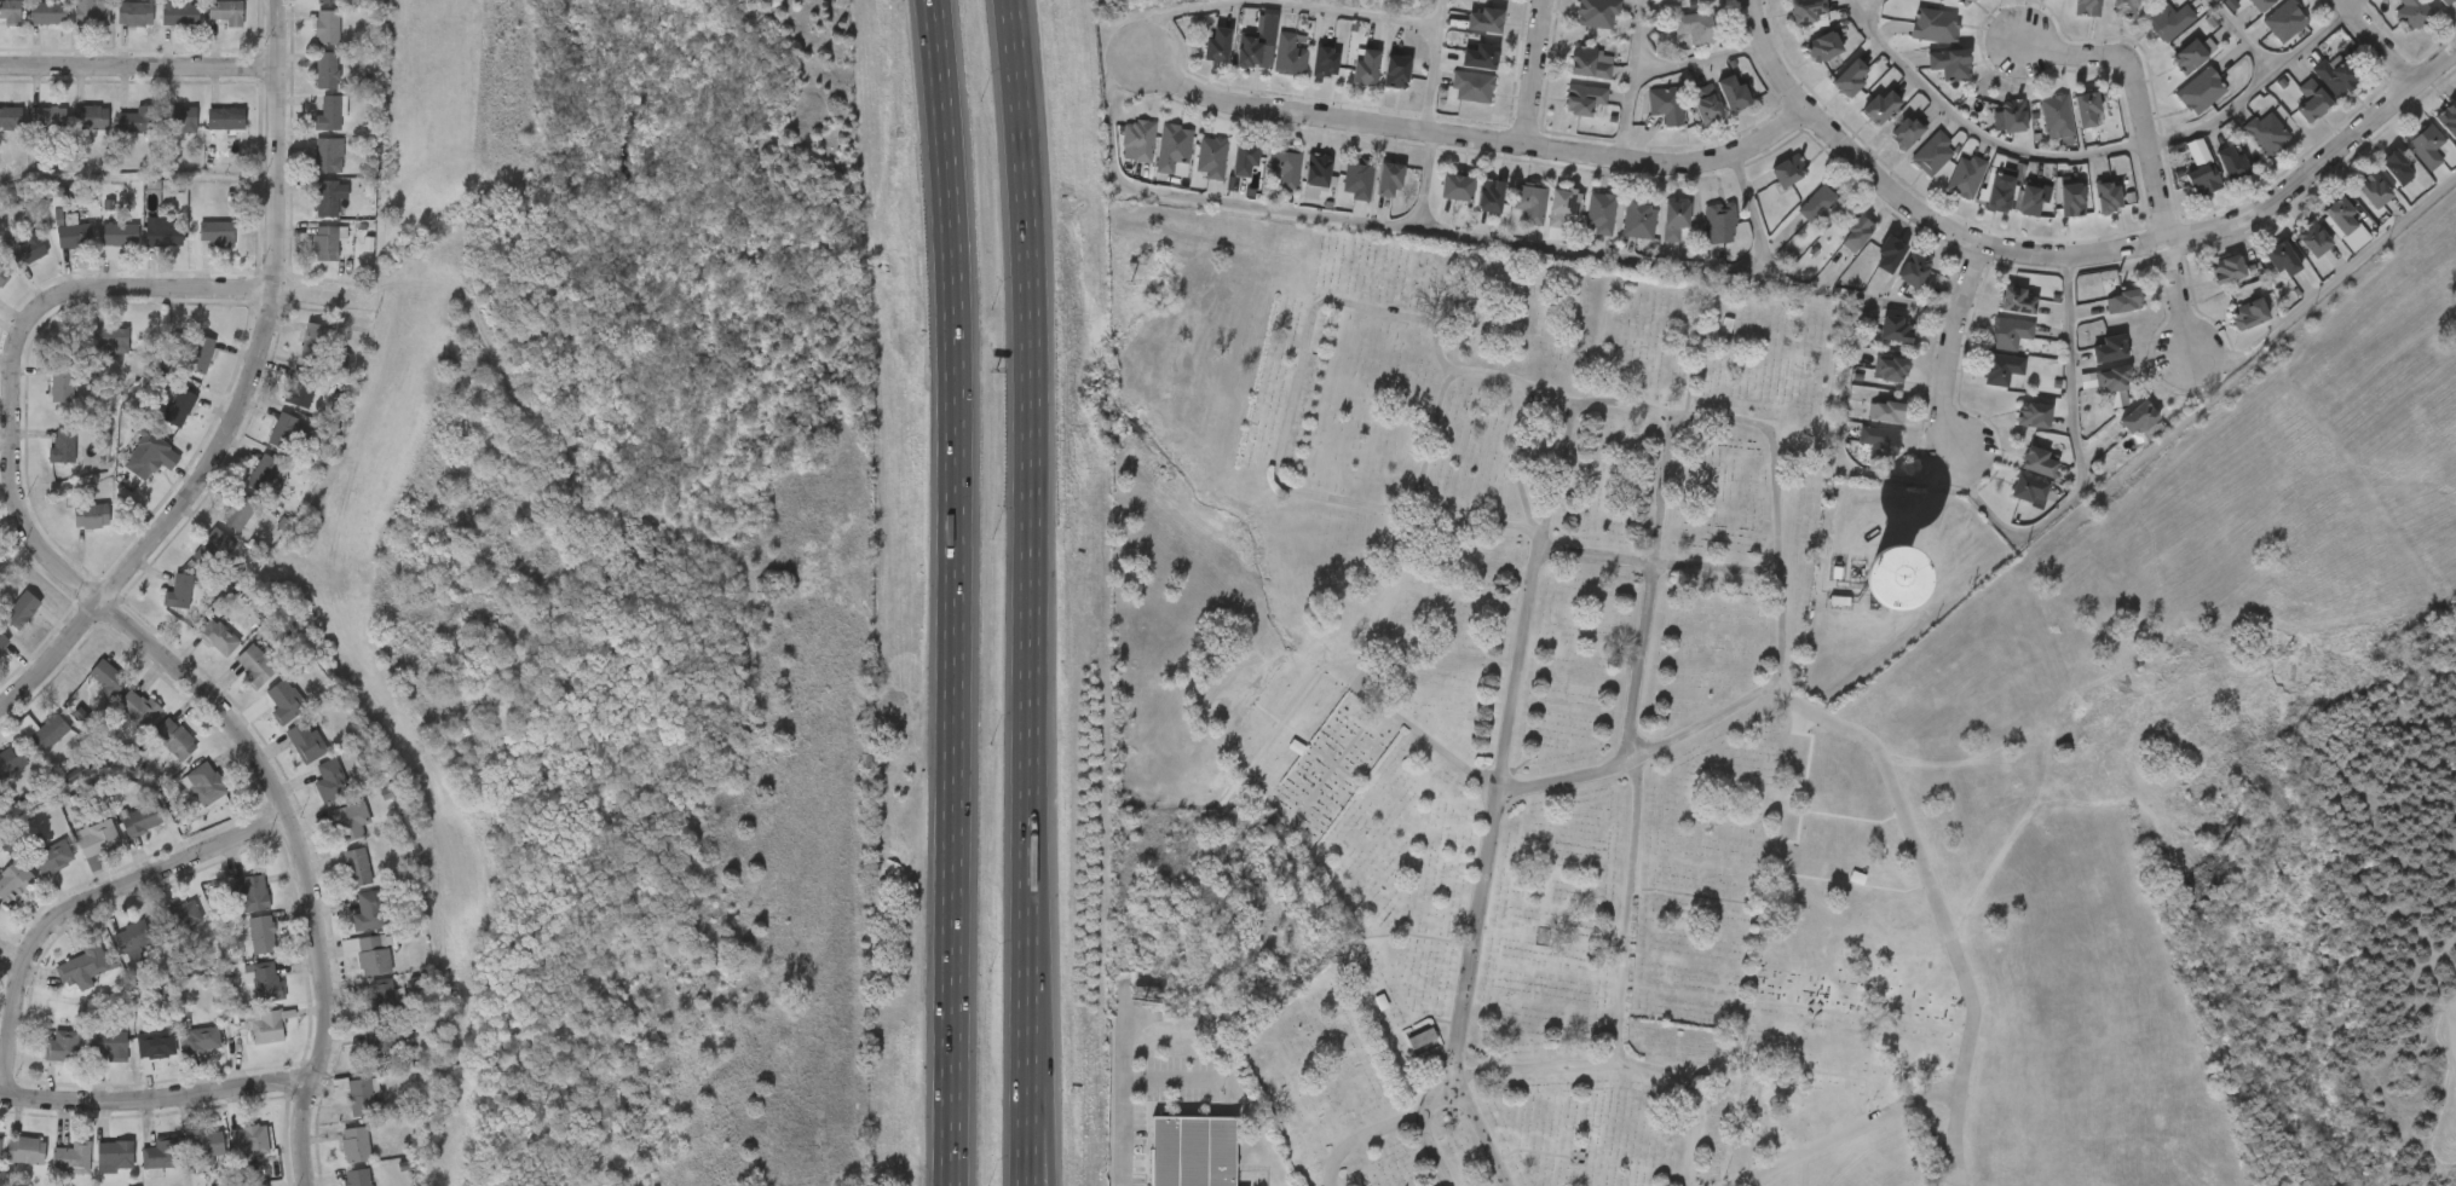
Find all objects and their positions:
building: (328, 0)
building: (1960, 1)
building: (2443, 1)
building: (2450, 1)
building: (1977, 2)
building: (2260, 2)
road: (2348, 2)
building: (2126, 4)
building: (2088, 5)
building: (2028, 6)
road: (1868, 7)
building: (1804, 8)
building: (10, 10)
building: (1597, 10)
building: (47, 11)
building: (92, 11)
building: (180, 11)
building: (226, 11)
road: (1370, 11)
building: (2414, 11)
building: (134, 12)
road: (1164, 12)
building: (2243, 16)
building: (2285, 16)
building: (1483, 17)
building: (2172, 17)
building: (2066, 21)
building: (1935, 22)
building: (2104, 22)
building: (1689, 25)
building: (327, 27)
building: (2391, 30)
road: (2245, 33)
building: (1257, 36)
building: (1217, 42)
building: (2150, 42)
building: (2264, 42)
building: (1821, 44)
road: (2377, 44)
building: (1914, 47)
building: (1287, 50)
building: (2189, 52)
building: (1478, 53)
road: (1696, 56)
building: (1590, 59)
building: (1947, 59)
building: (1325, 60)
building: (1364, 64)
road: (1431, 65)
road: (139, 66)
building: (1395, 68)
building: (328, 69)
road: (1534, 73)
building: (1850, 74)
building: (2334, 75)
building: (2168, 76)
road: (1628, 79)
building: (1472, 81)
road: (2253, 83)
building: (1929, 86)
building: (2200, 87)
building: (1733, 92)
building: (1582, 96)
road: (2139, 98)
building: (1665, 99)
building: (2312, 99)
building: (1706, 104)
building: (1878, 104)
building: (2085, 106)
building: (2053, 109)
building: (329, 111)
building: (2010, 111)
building: (2180, 112)
building: (10, 116)
building: (47, 116)
building: (90, 116)
building: (2448, 116)
building: (137, 117)
building: (180, 117)
building: (225, 117)
building: (2290, 122)
road: (1976, 126)
building: (1906, 127)
building: (1860, 128)
building: (2065, 131)
building: (2267, 131)
building: (1136, 137)
building: (2036, 137)
building: (1991, 138)
road: (1477, 139)
building: (1171, 143)
building: (2426, 144)
building: (1932, 147)
building: (1209, 152)
building: (1244, 152)
building: (329, 154)
building: (1885, 154)
building: (2245, 155)
building: (1284, 160)
building: (2229, 160)
building: (1316, 166)
building: (2394, 166)
building: (1786, 168)
building: (1967, 169)
building: (1359, 172)
building: (1389, 173)
building: (1912, 175)
building: (2197, 177)
road: (1424, 181)
building: (1454, 184)
building: (1999, 186)
building: (2212, 186)
building: (2373, 187)
building: (2180, 191)
building: (1487, 192)
building: (2106, 195)
building: (327, 196)
building: (2029, 196)
building: (2069, 196)
building: (1945, 198)
building: (1529, 199)
building: (1820, 202)
building: (1561, 206)
building: (1599, 209)
building: (1635, 210)
building: (2352, 212)
building: (1981, 213)
building: (2337, 214)
building: (1672, 218)
building: (1719, 218)
road: (1755, 218)
building: (2087, 218)
building: (2013, 219)
building: (2051, 221)
building: (1853, 230)
building: (217, 232)
building: (75, 233)
building: (165, 233)
building: (117, 237)
road: (1464, 237)
building: (2311, 237)
building: (325, 242)
building: (28, 249)
building: (1841, 250)
building: (1889, 250)
building: (2281, 254)
road: (2076, 255)
road: (2347, 261)
building: (1914, 264)
building: (2224, 266)
building: (4, 274)
building: (1869, 274)
building: (2261, 279)
building: (1893, 290)
building: (2207, 290)
building: (2014, 295)
building: (2123, 299)
road: (2179, 300)
road: (42, 308)
building: (2249, 311)
building: (1996, 322)
building: (2103, 323)
building: (1895, 325)
road: (266, 326)
building: (2011, 326)
building: (2229, 335)
building: (110, 336)
building: (313, 343)
building: (2109, 345)
road: (1954, 347)
building: (1875, 349)
building: (200, 353)
building: (1989, 354)
road: (2214, 355)
building: (2000, 363)
building: (1891, 364)
building: (2088, 370)
road: (1482, 371)
building: (2112, 375)
building: (62, 382)
building: (301, 388)
building: (1869, 390)
building: (1982, 390)
building: (2093, 400)
building: (179, 406)
building: (1886, 409)
building: (2034, 411)
building: (2137, 415)
building: (289, 430)
building: (1878, 434)
building: (2014, 436)
building: (2118, 439)
road: (1837, 440)
building: (63, 442)
road: (2081, 456)
building: (2039, 457)
building: (145, 461)
building: (1860, 462)
building: (263, 471)
building: (2027, 482)
building: (2008, 511)
building: (241, 513)
building: (91, 515)
road: (1529, 534)
building: (214, 548)
building: (1855, 586)
road: (1650, 588)
water tower: (1852, 589)
building: (179, 591)
road: (955, 592)
road: (1030, 592)
road: (1528, 598)
building: (21, 608)
building: (218, 635)
building: (2, 638)
road: (52, 656)
building: (255, 665)
building: (106, 676)
building: (286, 698)
building: (138, 706)
building: (41, 730)
building: (175, 737)
building: (306, 740)
building: (11, 760)
park: (1633, 774)
building: (330, 780)
building: (206, 782)
building: (140, 818)
building: (350, 820)
building: (97, 837)
road: (1916, 855)
building: (53, 856)
road: (306, 857)
building: (357, 866)
building: (13, 879)
building: (249, 891)
road: (85, 904)
building: (0, 908)
building: (369, 909)
building: (184, 913)
building: (137, 933)
building: (261, 933)
building: (369, 951)
building: (82, 961)
building: (267, 980)
road: (1622, 995)
building: (380, 999)
road: (1457, 1020)
building: (267, 1025)
building: (200, 1039)
building: (381, 1041)
building: (1423, 1042)
building: (108, 1043)
building: (155, 1043)
building: (63, 1046)
road: (1534, 1066)
road: (1170, 1078)
road: (1130, 1092)
building: (361, 1097)
road: (157, 1099)
road: (1045, 1106)
road: (1892, 1112)
road: (1476, 1128)
building: (1, 1139)
building: (249, 1140)
building: (356, 1144)
building: (206, 1145)
building: (25, 1150)
building: (1190, 1151)
road: (1432, 1151)
building: (115, 1153)
building: (161, 1153)
building: (74, 1156)
building: (358, 1176)

